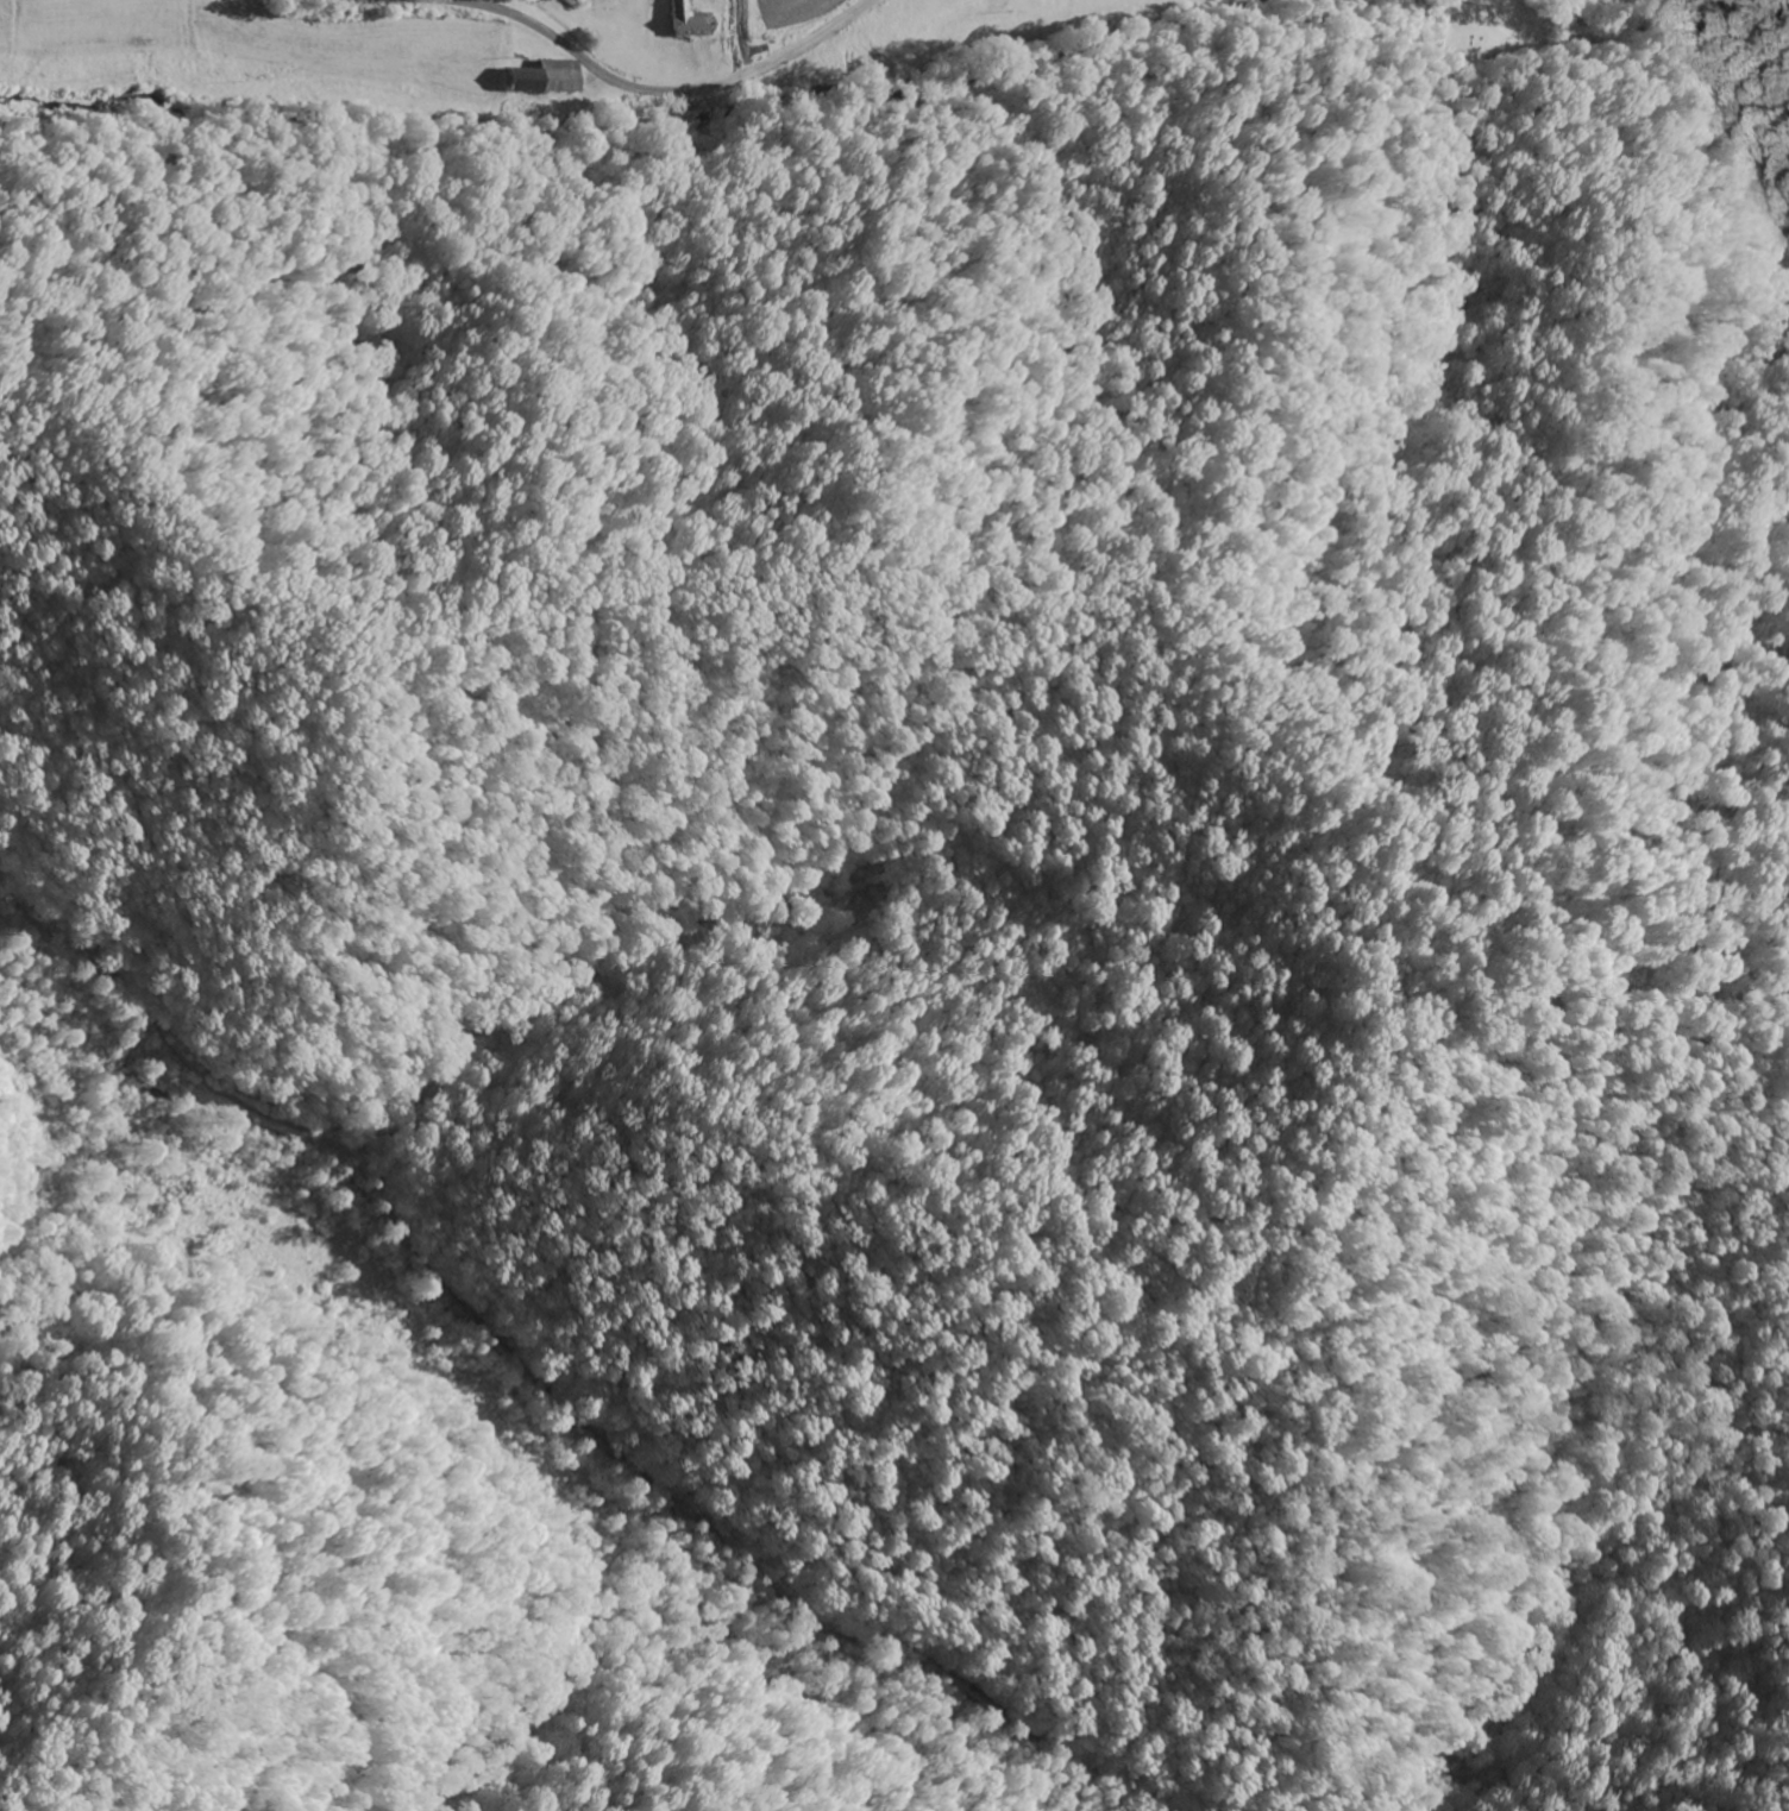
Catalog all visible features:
building: (685, 21)
building: (541, 80)
road: (638, 89)

